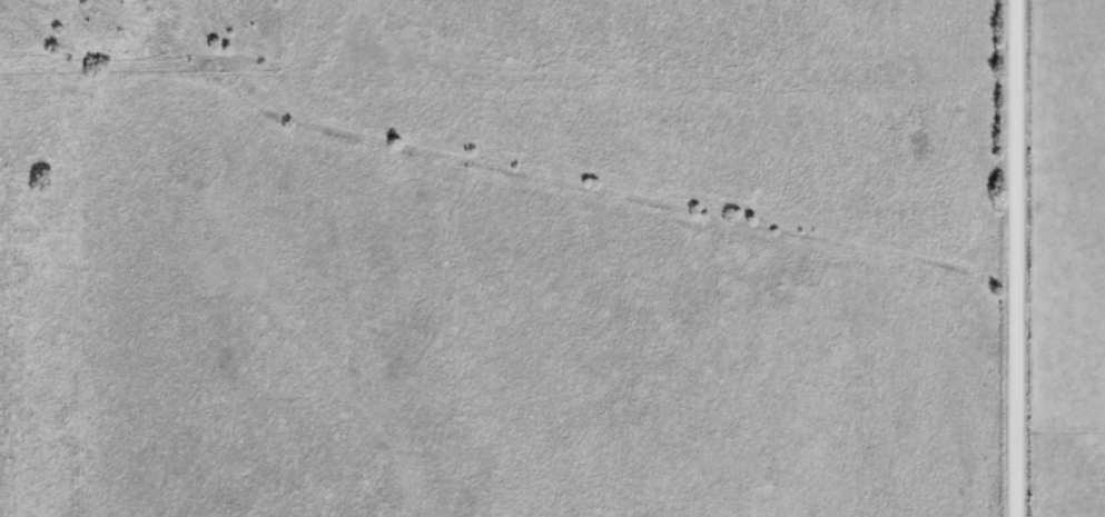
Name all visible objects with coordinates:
road: (1020, 258)

